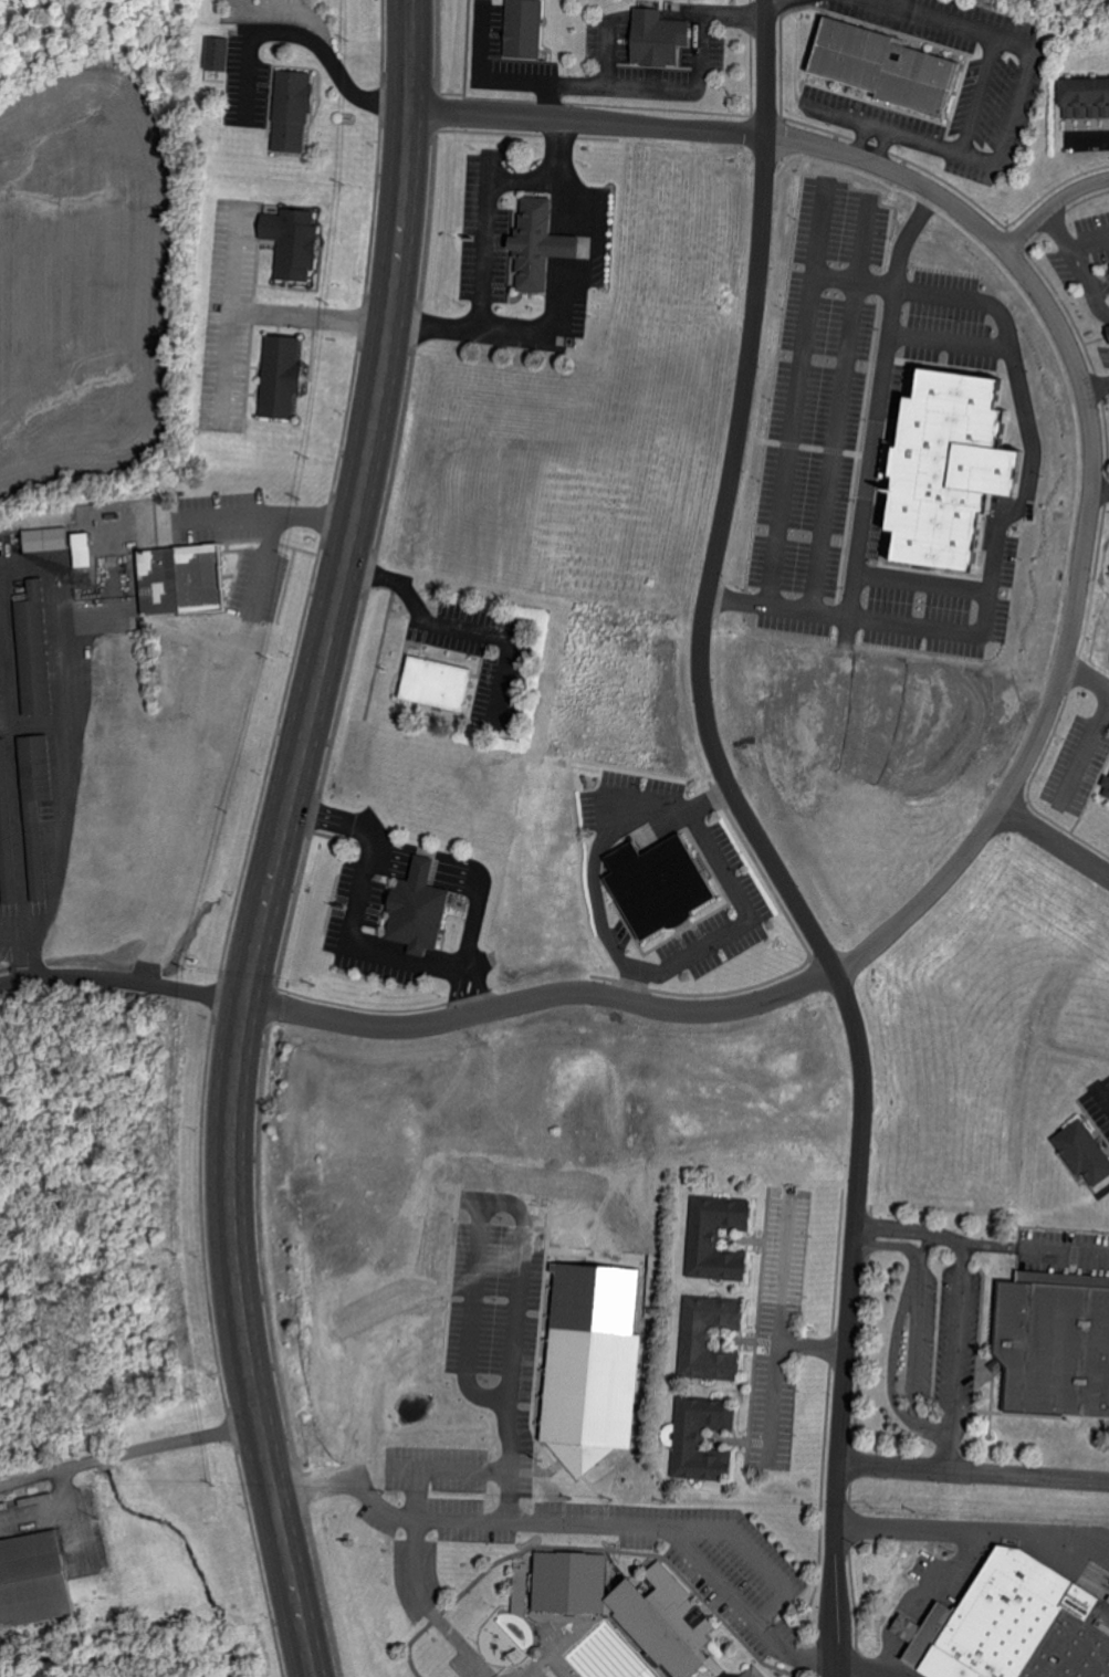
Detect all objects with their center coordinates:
road: (933, 21)
building: (527, 28)
road: (303, 36)
building: (660, 38)
building: (220, 53)
building: (817, 56)
building: (893, 66)
road: (628, 91)
road: (979, 96)
building: (1087, 97)
road: (1011, 106)
building: (295, 108)
road: (585, 117)
road: (903, 133)
road: (1088, 136)
road: (571, 206)
road: (1054, 209)
road: (1059, 229)
road: (487, 233)
road: (1089, 240)
building: (296, 241)
road: (862, 241)
building: (543, 243)
road: (571, 247)
road: (899, 259)
road: (1079, 265)
road: (231, 269)
road: (1098, 300)
road: (316, 321)
road: (550, 322)
road: (919, 336)
road: (226, 365)
building: (285, 376)
road: (1098, 388)
road: (792, 439)
road: (835, 446)
building: (959, 469)
road: (1102, 494)
road: (1094, 507)
road: (178, 514)
road: (311, 520)
building: (49, 539)
building: (85, 549)
road: (258, 566)
road: (50, 567)
building: (185, 579)
road: (881, 619)
road: (456, 629)
building: (36, 649)
building: (441, 683)
road: (1096, 723)
road: (32, 729)
road: (10, 750)
building: (1108, 785)
building: (1108, 794)
building: (36, 805)
building: (7, 828)
road: (59, 832)
road: (279, 838)
road: (758, 841)
road: (1054, 849)
road: (391, 861)
road: (593, 863)
road: (422, 869)
road: (457, 877)
building: (665, 885)
building: (422, 910)
road: (747, 913)
road: (19, 931)
road: (348, 945)
road: (14, 978)
road: (193, 993)
road: (467, 994)
road: (538, 998)
building: (1086, 1150)
road: (907, 1229)
building: (721, 1237)
road: (1034, 1249)
road: (516, 1275)
road: (780, 1314)
road: (914, 1322)
building: (713, 1337)
building: (1058, 1341)
road: (892, 1351)
road: (952, 1356)
building: (595, 1363)
road: (774, 1395)
building: (704, 1437)
road: (128, 1453)
road: (972, 1472)
road: (510, 1490)
road: (573, 1519)
road: (972, 1531)
building: (34, 1576)
building: (644, 1608)
building: (1021, 1625)
road: (868, 1670)
road: (881, 1675)

